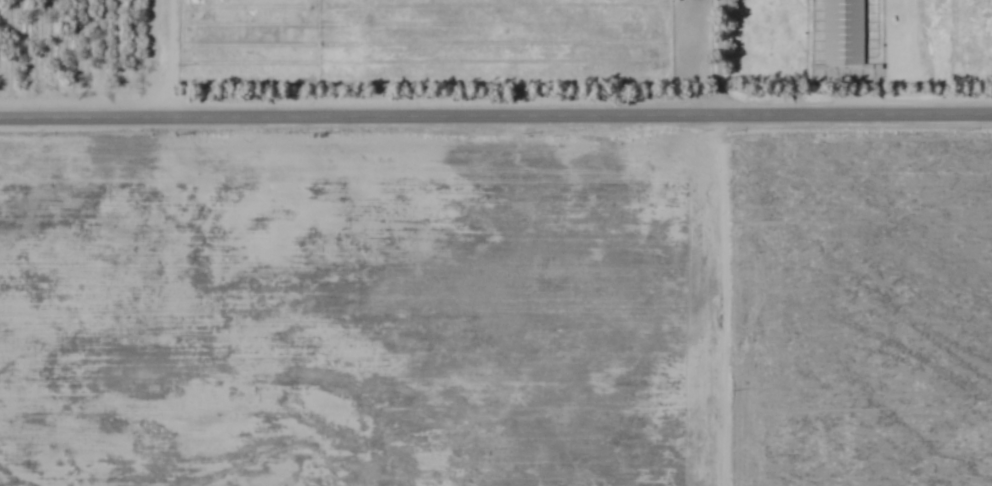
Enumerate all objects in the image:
building: (844, 33)
road: (496, 111)
crop: (496, 243)

